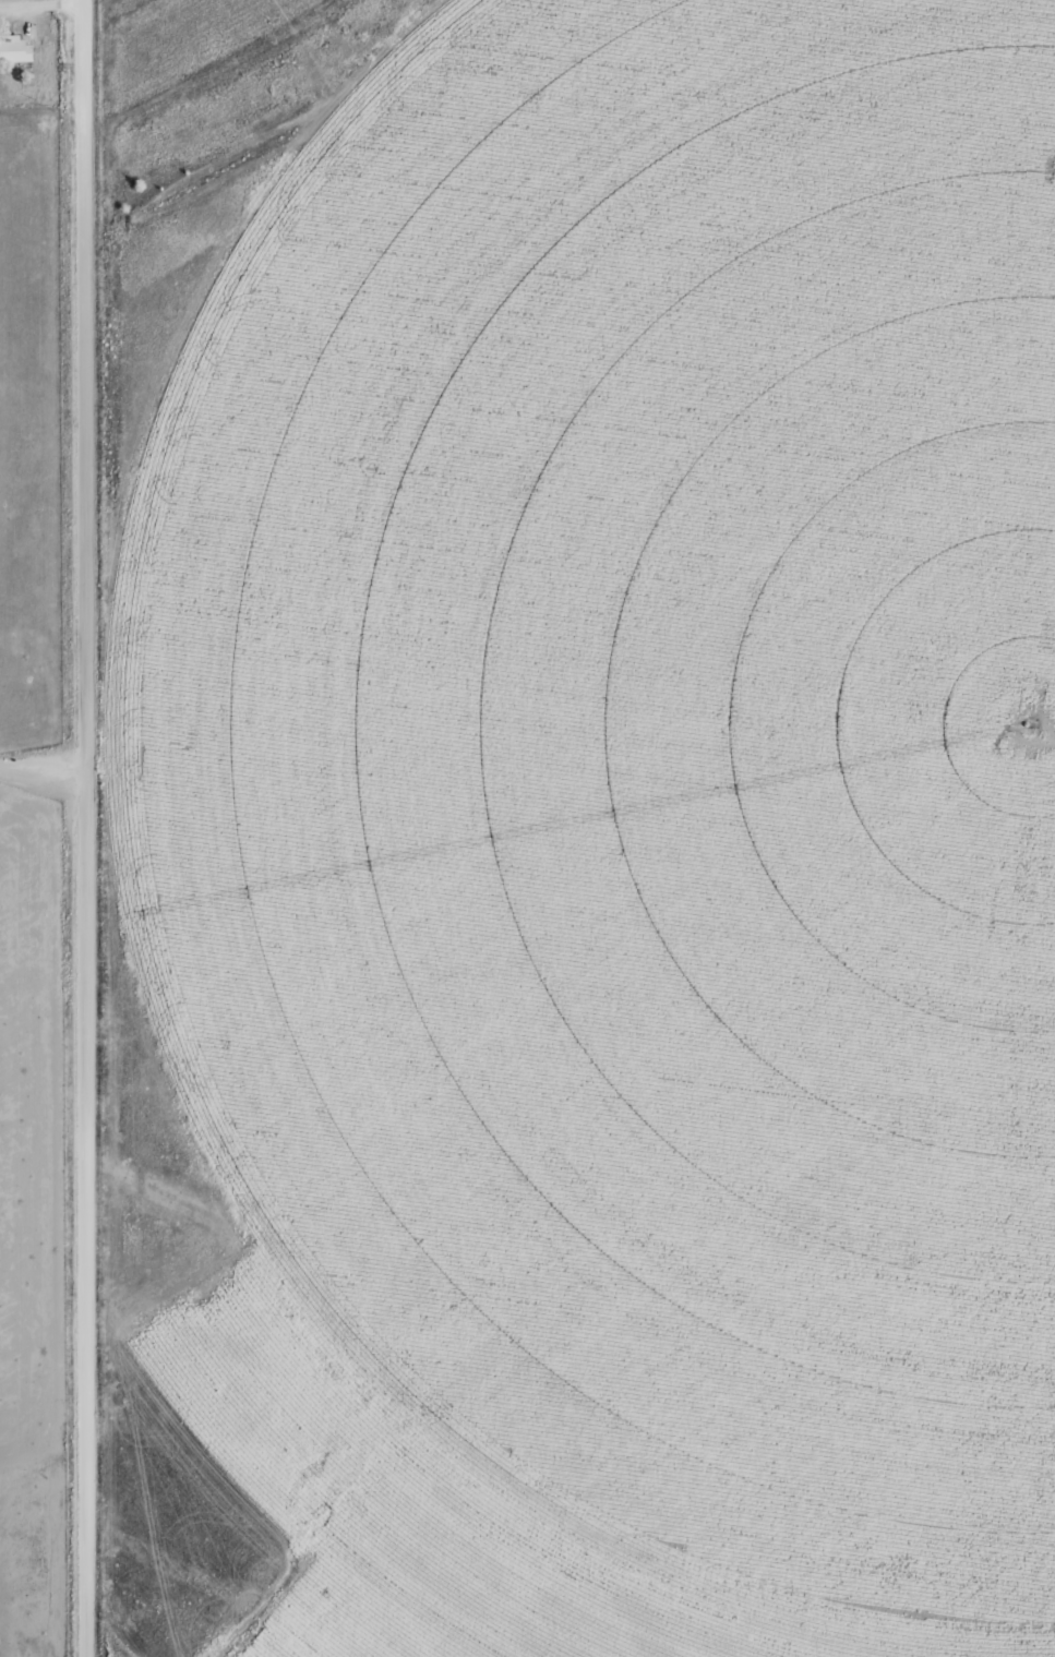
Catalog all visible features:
road: (39, 3)
road: (43, 765)
road: (86, 828)
crop: (620, 833)
road: (130, 1364)

